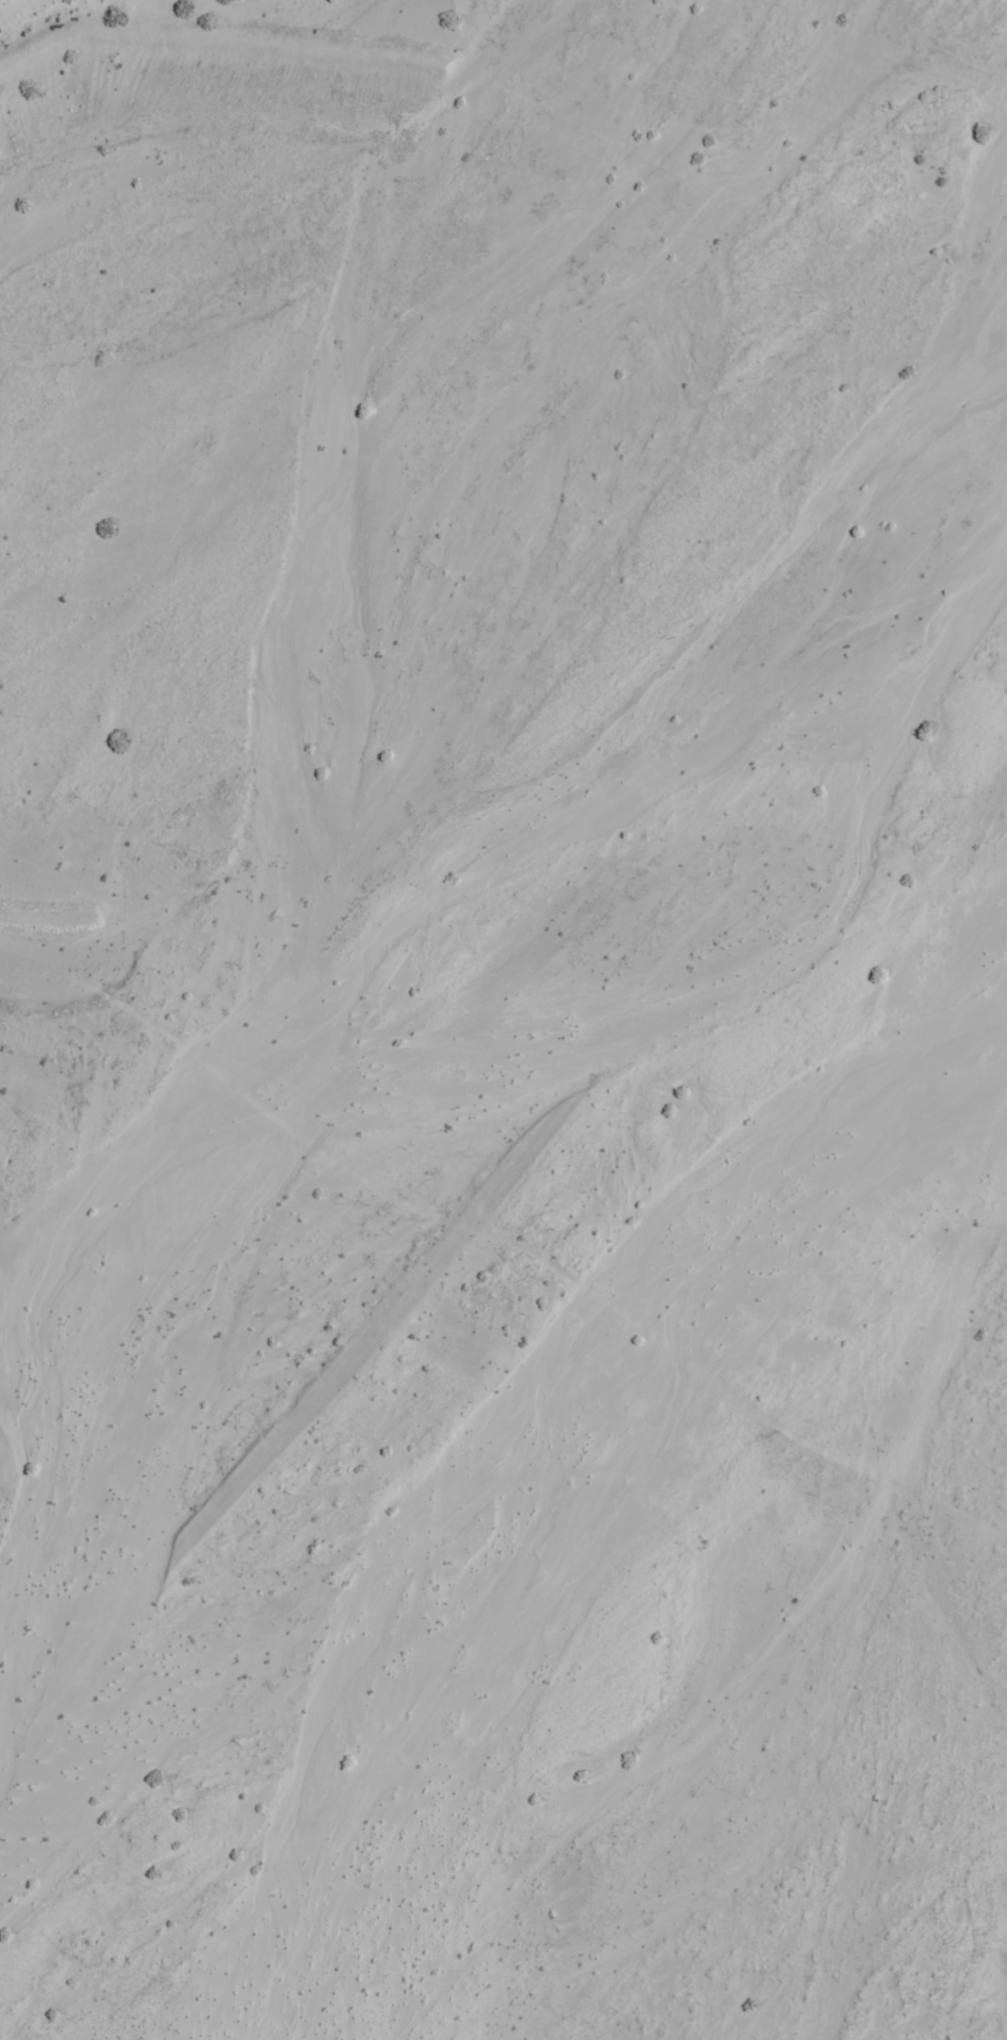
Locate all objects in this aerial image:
river: (820, 1806)

